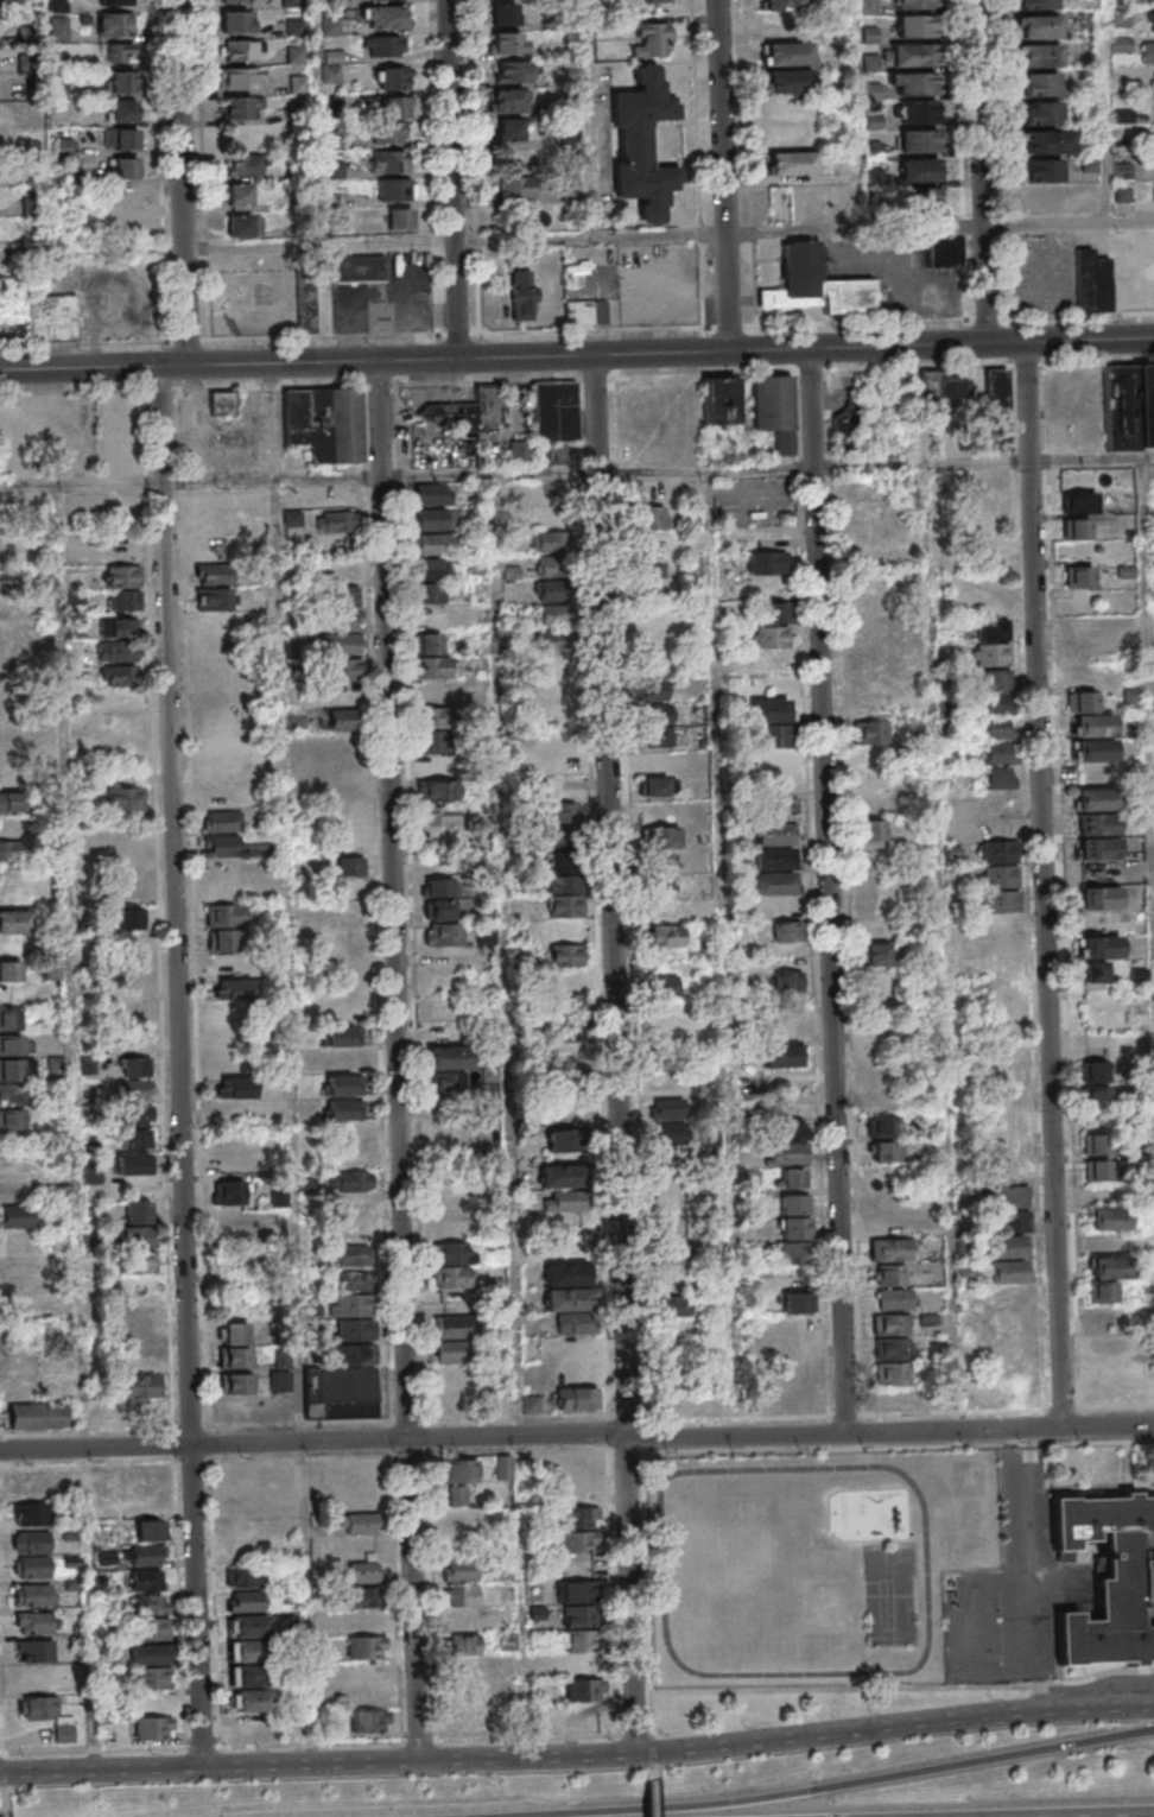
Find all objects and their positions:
building: (392, 0)
building: (237, 1)
building: (655, 1)
building: (1152, 1)
building: (120, 4)
building: (298, 4)
building: (332, 5)
building: (918, 5)
building: (1041, 5)
building: (788, 6)
building: (873, 7)
building: (503, 13)
building: (1122, 18)
building: (393, 19)
building: (1150, 23)
building: (237, 24)
building: (119, 26)
building: (58, 27)
building: (334, 27)
building: (298, 29)
building: (919, 29)
building: (1044, 29)
building: (873, 36)
building: (651, 39)
building: (508, 43)
building: (383, 45)
building: (1122, 46)
building: (243, 52)
building: (1149, 53)
building: (125, 56)
building: (299, 56)
building: (792, 57)
building: (917, 57)
building: (1045, 57)
building: (875, 63)
building: (513, 71)
building: (334, 75)
building: (242, 81)
building: (395, 81)
building: (125, 84)
building: (793, 84)
building: (302, 86)
building: (920, 87)
building: (1044, 87)
building: (875, 93)
building: (512, 103)
building: (336, 105)
building: (395, 107)
building: (1092, 109)
building: (241, 110)
building: (126, 113)
building: (920, 114)
building: (304, 115)
building: (1044, 115)
road: (590, 119)
building: (876, 122)
building: (509, 128)
building: (389, 132)
building: (1092, 134)
building: (128, 143)
building: (921, 144)
building: (1051, 145)
building: (646, 146)
building: (876, 151)
building: (397, 164)
building: (243, 165)
building: (1092, 165)
building: (795, 166)
building: (129, 171)
road: (165, 171)
building: (337, 171)
building: (921, 172)
road: (985, 172)
building: (1124, 172)
building: (1047, 173)
road: (728, 176)
road: (456, 179)
building: (877, 179)
road: (186, 182)
building: (400, 191)
building: (514, 191)
road: (702, 191)
building: (239, 194)
building: (1126, 195)
building: (922, 202)
building: (399, 219)
road: (1071, 224)
building: (243, 226)
road: (588, 239)
road: (94, 251)
building: (943, 253)
building: (359, 268)
building: (1116, 274)
building: (816, 285)
building: (521, 295)
building: (305, 306)
building: (584, 312)
building: (36, 314)
road: (793, 325)
road: (461, 335)
road: (577, 355)
building: (974, 397)
building: (719, 401)
building: (221, 403)
building: (1128, 406)
building: (774, 409)
building: (465, 410)
building: (553, 411)
building: (851, 417)
building: (323, 423)
building: (919, 436)
building: (519, 450)
road: (769, 468)
road: (191, 481)
building: (213, 498)
building: (556, 498)
building: (1077, 502)
building: (433, 506)
building: (981, 506)
building: (651, 517)
building: (292, 518)
building: (335, 521)
building: (216, 525)
building: (1076, 528)
building: (552, 542)
building: (431, 544)
building: (767, 562)
building: (554, 566)
building: (646, 566)
building: (429, 568)
building: (335, 569)
building: (213, 574)
building: (1079, 576)
building: (123, 588)
building: (554, 590)
building: (429, 593)
building: (75, 596)
building: (214, 599)
road: (1149, 599)
building: (5, 604)
building: (993, 607)
building: (774, 612)
building: (552, 614)
building: (429, 618)
building: (338, 622)
building: (118, 627)
building: (993, 629)
building: (866, 633)
building: (769, 637)
building: (652, 639)
building: (553, 640)
building: (430, 642)
building: (116, 651)
building: (991, 654)
building: (771, 663)
building: (433, 667)
building: (338, 670)
building: (654, 670)
building: (119, 676)
building: (998, 679)
building: (651, 689)
building: (553, 690)
building: (998, 704)
building: (869, 708)
building: (654, 714)
building: (294, 716)
building: (345, 718)
building: (436, 718)
building: (998, 728)
building: (1090, 729)
building: (870, 732)
building: (772, 734)
building: (653, 737)
building: (436, 740)
building: (344, 745)
building: (220, 747)
building: (1000, 753)
building: (8, 754)
building: (437, 766)
building: (218, 772)
building: (1000, 777)
building: (871, 781)
building: (657, 787)
building: (438, 791)
building: (348, 793)
building: (125, 799)
building: (1095, 799)
building: (11, 802)
building: (562, 813)
building: (438, 815)
building: (222, 821)
building: (1096, 824)
building: (873, 829)
building: (660, 837)
building: (774, 844)
building: (234, 847)
building: (1097, 848)
building: (11, 850)
building: (350, 866)
building: (223, 870)
building: (560, 873)
building: (1000, 876)
building: (658, 885)
road: (1047, 885)
building: (439, 887)
road: (831, 889)
building: (131, 894)
road: (611, 897)
building: (1099, 899)
building: (564, 906)
building: (704, 906)
building: (440, 910)
building: (662, 911)
building: (228, 914)
building: (131, 918)
building: (14, 922)
building: (786, 931)
building: (443, 935)
building: (483, 935)
building: (662, 936)
building: (341, 938)
building: (223, 941)
building: (8, 947)
road: (945, 948)
building: (877, 954)
building: (1097, 956)
building: (138, 967)
building: (9, 970)
building: (565, 977)
building: (788, 982)
building: (662, 986)
building: (235, 989)
building: (670, 1008)
building: (11, 1024)
building: (566, 1033)
building: (673, 1034)
building: (342, 1036)
building: (12, 1049)
building: (780, 1056)
building: (671, 1059)
road: (402, 1061)
building: (135, 1066)
road: (185, 1066)
building: (446, 1070)
building: (1096, 1071)
building: (13, 1072)
building: (343, 1084)
building: (559, 1085)
building: (237, 1088)
building: (133, 1089)
building: (15, 1095)
building: (1096, 1096)
building: (883, 1102)
building: (344, 1109)
road: (512, 1116)
building: (670, 1120)
building: (13, 1122)
road: (292, 1122)
building: (135, 1126)
building: (883, 1126)
road: (74, 1128)
building: (564, 1139)
building: (787, 1142)
building: (1092, 1144)
building: (1010, 1148)
building: (887, 1152)
building: (133, 1164)
building: (1097, 1170)
building: (562, 1176)
building: (793, 1178)
building: (354, 1180)
building: (230, 1192)
building: (568, 1201)
building: (138, 1213)
building: (794, 1216)
building: (19, 1220)
building: (237, 1228)
building: (1108, 1230)
building: (137, 1236)
building: (1010, 1239)
building: (892, 1249)
building: (690, 1253)
building: (790, 1253)
building: (355, 1255)
building: (138, 1262)
building: (451, 1264)
building: (240, 1265)
building: (1109, 1268)
building: (566, 1274)
building: (890, 1274)
building: (355, 1280)
building: (676, 1283)
building: (1102, 1291)
building: (895, 1299)
building: (799, 1302)
building: (680, 1305)
building: (311, 1309)
building: (571, 1310)
building: (138, 1311)
building: (1101, 1317)
building: (452, 1325)
building: (235, 1332)
building: (893, 1336)
building: (451, 1351)
building: (235, 1357)
building: (25, 1363)
building: (345, 1363)
building: (684, 1370)
building: (892, 1373)
building: (280, 1380)
building: (236, 1382)
building: (141, 1386)
building: (1109, 1391)
building: (577, 1398)
building: (531, 1404)
building: (36, 1414)
road: (577, 1438)
building: (503, 1467)
building: (458, 1479)
building: (28, 1484)
building: (30, 1513)
building: (579, 1517)
building: (461, 1521)
building: (359, 1524)
building: (148, 1531)
building: (30, 1541)
building: (578, 1541)
building: (146, 1555)
building: (30, 1566)
road: (1035, 1569)
building: (459, 1570)
building: (364, 1572)
building: (242, 1577)
building: (1108, 1578)
building: (145, 1579)
building: (33, 1594)
building: (459, 1595)
road: (629, 1595)
building: (361, 1597)
building: (243, 1601)
building: (581, 1603)
building: (147, 1604)
building: (461, 1620)
building: (31, 1622)
building: (366, 1622)
building: (245, 1625)
building: (148, 1629)
building: (462, 1644)
building: (364, 1647)
building: (32, 1651)
building: (245, 1651)
building: (150, 1666)
road: (705, 1673)
building: (246, 1676)
building: (583, 1679)
building: (247, 1701)
building: (47, 1716)
building: (464, 1717)
building: (367, 1721)
road: (893, 1727)
building: (150, 1728)
road: (654, 1741)
road: (326, 1742)
road: (528, 1758)
road: (211, 1767)
road: (0, 1780)
road: (654, 1784)
road: (845, 1786)
road: (0, 1797)
road: (0, 1812)

